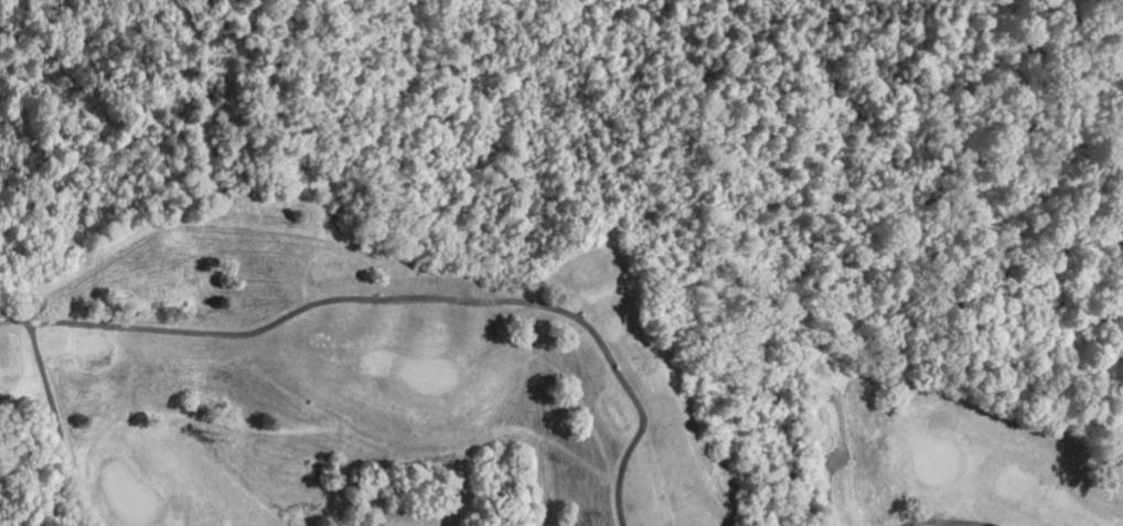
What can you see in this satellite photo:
road: (417, 301)
park: (477, 390)
road: (55, 412)
road: (827, 490)
road: (954, 525)

